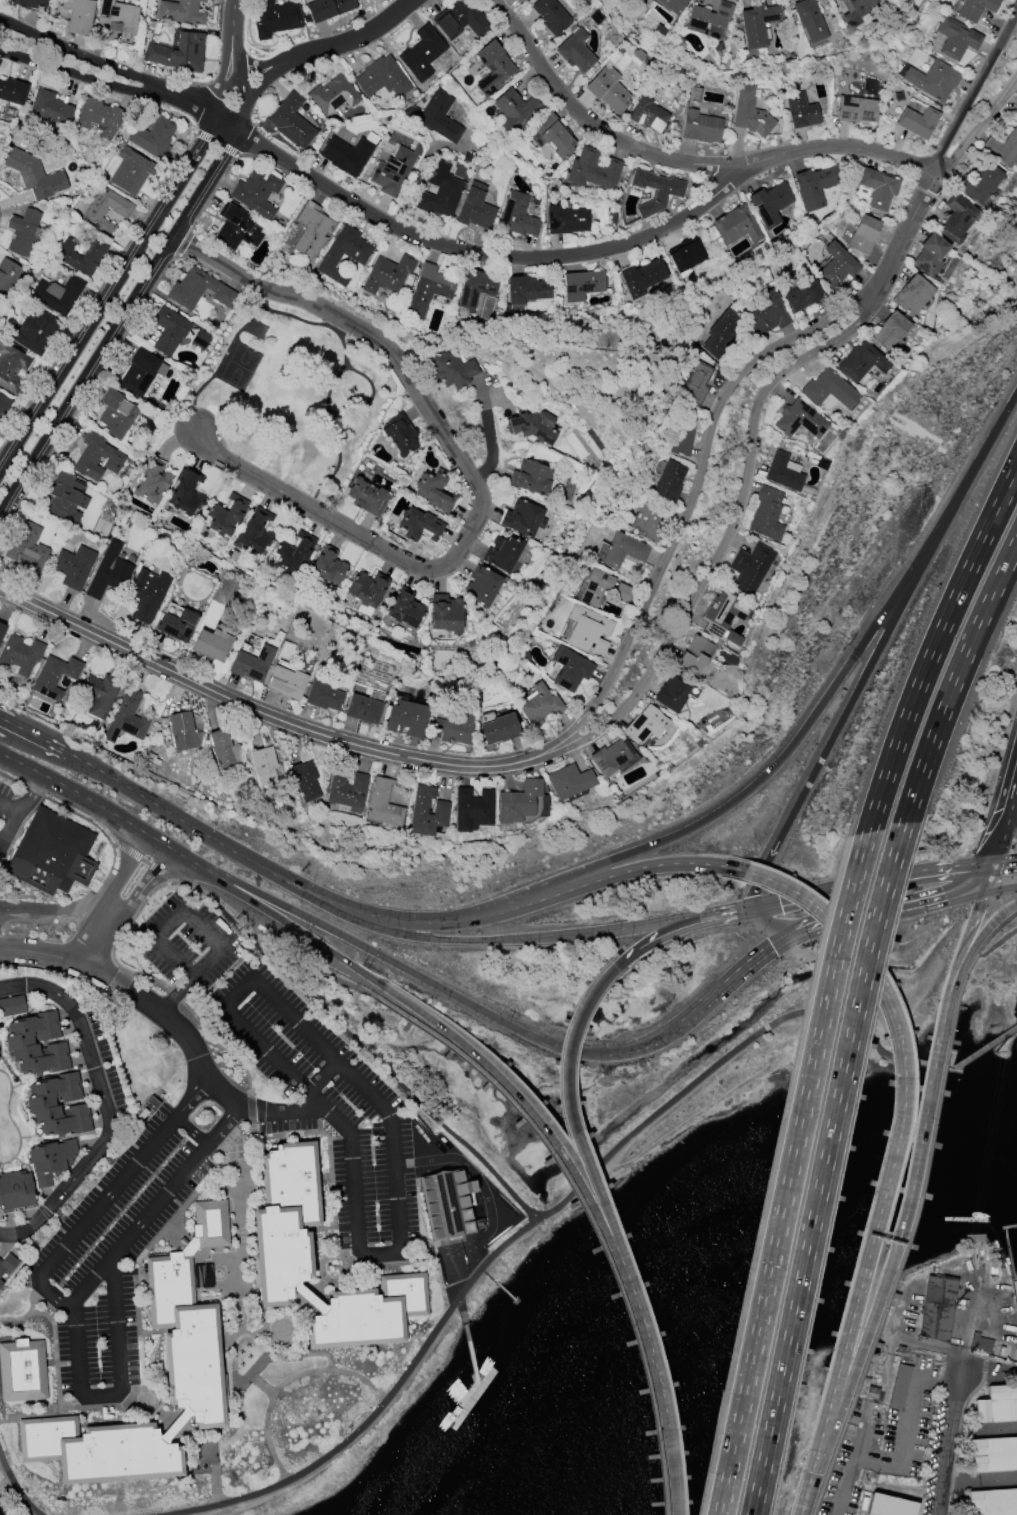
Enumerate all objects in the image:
building: (522, 0)
building: (30, 3)
building: (672, 5)
building: (327, 8)
building: (975, 9)
building: (856, 11)
building: (180, 12)
building: (79, 16)
building: (117, 16)
building: (551, 16)
road: (232, 18)
building: (276, 18)
building: (709, 19)
building: (461, 20)
building: (809, 20)
building: (757, 24)
building: (956, 38)
road: (350, 40)
building: (576, 51)
building: (422, 53)
building: (179, 54)
road: (83, 56)
road: (245, 58)
road: (228, 66)
building: (492, 68)
road: (237, 71)
road: (81, 76)
building: (382, 78)
building: (933, 80)
road: (972, 90)
building: (608, 91)
building: (13, 92)
road: (251, 92)
building: (333, 95)
building: (695, 95)
building: (50, 107)
building: (856, 110)
building: (516, 111)
building: (801, 111)
building: (750, 113)
building: (649, 115)
building: (100, 117)
building: (436, 117)
building: (290, 121)
building: (918, 121)
building: (700, 127)
road: (977, 129)
building: (554, 136)
building: (153, 138)
building: (1002, 148)
building: (347, 155)
building: (466, 158)
road: (683, 161)
building: (593, 170)
building: (130, 171)
building: (394, 171)
building: (33, 174)
building: (979, 183)
building: (815, 185)
building: (878, 188)
building: (440, 191)
building: (257, 192)
building: (669, 192)
building: (647, 195)
building: (770, 203)
building: (475, 208)
building: (105, 210)
building: (518, 216)
building: (957, 218)
building: (567, 220)
road: (909, 221)
building: (737, 225)
building: (236, 228)
building: (312, 231)
building: (23, 232)
building: (863, 235)
road: (448, 246)
building: (930, 254)
road: (135, 257)
building: (330, 260)
building: (836, 265)
building: (83, 267)
building: (388, 274)
building: (7, 275)
building: (642, 277)
building: (582, 285)
building: (191, 288)
building: (475, 288)
building: (526, 289)
building: (429, 291)
building: (57, 294)
building: (911, 295)
building: (802, 296)
building: (225, 297)
building: (767, 314)
road: (116, 320)
building: (169, 330)
building: (35, 331)
building: (889, 331)
building: (721, 334)
building: (200, 339)
building: (861, 362)
building: (12, 368)
building: (451, 370)
building: (141, 372)
building: (695, 382)
building: (829, 389)
park: (296, 397)
building: (4, 405)
building: (117, 414)
building: (799, 420)
building: (532, 426)
building: (399, 434)
building: (682, 434)
road: (991, 436)
building: (97, 458)
building: (783, 471)
road: (467, 474)
building: (531, 478)
building: (151, 481)
building: (669, 481)
building: (434, 491)
building: (186, 493)
road: (693, 495)
building: (367, 497)
building: (66, 498)
building: (767, 514)
building: (226, 515)
building: (523, 519)
building: (654, 519)
building: (419, 525)
road: (731, 526)
building: (256, 532)
building: (27, 547)
building: (624, 550)
building: (294, 553)
building: (502, 553)
building: (73, 566)
building: (327, 567)
building: (750, 568)
building: (109, 572)
building: (483, 587)
building: (595, 587)
building: (368, 589)
building: (623, 593)
building: (147, 594)
building: (405, 609)
building: (445, 614)
building: (725, 616)
building: (178, 625)
building: (589, 631)
building: (2, 632)
building: (210, 645)
road: (934, 647)
building: (696, 653)
building: (20, 654)
building: (252, 663)
building: (570, 669)
building: (55, 676)
road: (861, 682)
road: (954, 682)
building: (286, 683)
building: (673, 693)
building: (100, 694)
building: (323, 697)
building: (539, 705)
building: (363, 709)
road: (255, 711)
building: (127, 718)
building: (406, 718)
road: (2, 719)
building: (645, 725)
road: (22, 727)
building: (452, 729)
building: (500, 729)
building: (181, 730)
road: (32, 734)
building: (224, 750)
road: (788, 750)
building: (613, 758)
building: (264, 766)
road: (44, 776)
building: (305, 780)
building: (569, 782)
building: (347, 790)
road: (24, 802)
building: (518, 802)
road: (1013, 802)
building: (384, 804)
building: (473, 809)
building: (427, 811)
road: (173, 817)
road: (1004, 819)
road: (134, 827)
road: (8, 828)
building: (51, 853)
road: (1004, 861)
traffic signals: (992, 863)
road: (123, 872)
road: (615, 875)
road: (987, 878)
road: (872, 881)
road: (143, 885)
road: (999, 889)
road: (754, 893)
traffic signals: (983, 894)
road: (979, 904)
road: (1016, 904)
traffic signals: (753, 905)
road: (745, 906)
road: (55, 910)
road: (182, 910)
road: (907, 914)
road: (280, 919)
road: (397, 920)
road: (235, 925)
road: (649, 925)
road: (675, 930)
traffic signals: (831, 930)
road: (785, 931)
road: (417, 937)
road: (94, 938)
road: (979, 938)
road: (996, 944)
road: (963, 946)
road: (375, 953)
road: (743, 973)
road: (335, 981)
road: (948, 992)
road: (237, 993)
road: (175, 995)
building: (12, 1006)
road: (171, 1022)
building: (36, 1044)
road: (619, 1053)
road: (960, 1064)
road: (321, 1077)
road: (370, 1095)
building: (40, 1103)
road: (418, 1103)
road: (104, 1106)
building: (146, 1109)
road: (251, 1113)
road: (329, 1114)
road: (531, 1116)
road: (923, 1119)
road: (571, 1124)
road: (191, 1131)
road: (230, 1144)
road: (895, 1150)
building: (49, 1160)
road: (467, 1167)
road: (824, 1169)
road: (790, 1173)
road: (122, 1179)
building: (16, 1190)
building: (447, 1203)
road: (153, 1206)
road: (586, 1215)
road: (167, 1227)
road: (521, 1231)
road: (908, 1238)
road: (189, 1248)
building: (282, 1250)
road: (379, 1254)
road: (217, 1257)
building: (7, 1265)
road: (335, 1276)
river: (732, 1283)
building: (1, 1284)
pier: (499, 1287)
road: (51, 1293)
road: (309, 1299)
pier: (519, 1305)
building: (936, 1308)
road: (29, 1313)
road: (233, 1318)
road: (284, 1325)
road: (258, 1329)
park: (0, 1335)
pier: (468, 1344)
building: (980, 1344)
building: (899, 1350)
road: (989, 1365)
building: (192, 1369)
building: (22, 1370)
road: (850, 1374)
road: (286, 1381)
road: (260, 1385)
building: (899, 1387)
road: (120, 1389)
building: (872, 1393)
road: (912, 1398)
pier: (471, 1399)
road: (663, 1401)
building: (997, 1405)
road: (145, 1407)
road: (48, 1414)
road: (241, 1426)
road: (173, 1428)
road: (253, 1428)
road: (948, 1443)
building: (993, 1454)
road: (212, 1456)
road: (877, 1461)
road: (852, 1463)
road: (17, 1485)
building: (992, 1502)
building: (889, 1505)

